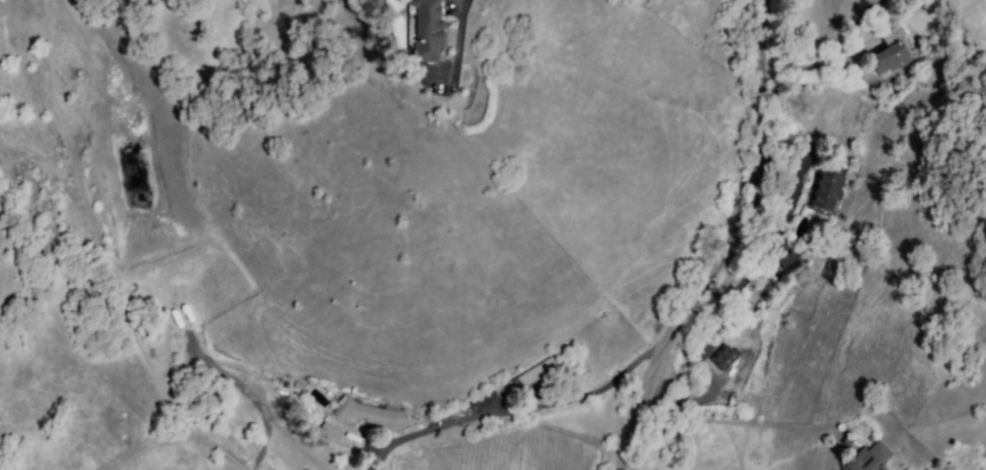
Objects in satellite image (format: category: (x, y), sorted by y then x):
building: (426, 28)
building: (441, 30)
road: (458, 42)
building: (894, 61)
road: (816, 65)
building: (826, 191)
road: (731, 244)
building: (790, 262)
building: (726, 357)
building: (541, 375)
road: (529, 407)
building: (372, 416)
building: (873, 459)

